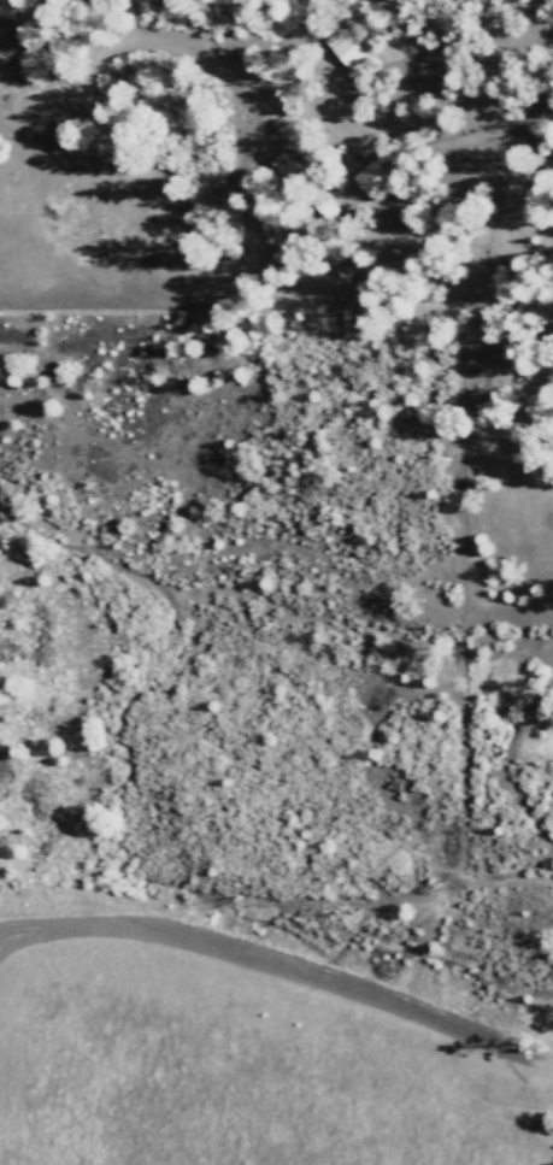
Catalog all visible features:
building: (375, 180)

